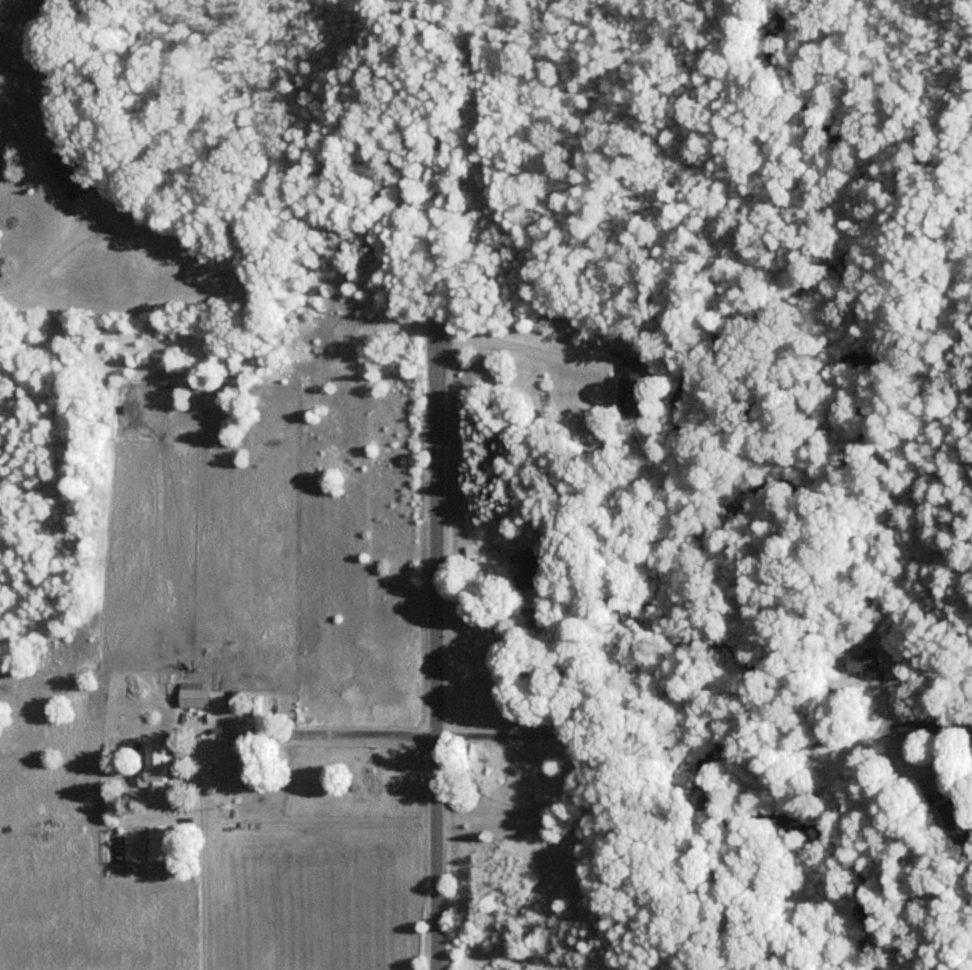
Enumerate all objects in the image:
building: (64, 174)
road: (48, 260)
building: (529, 568)
road: (431, 581)
building: (862, 660)
building: (191, 698)
road: (933, 726)
road: (382, 735)
building: (954, 821)
road: (210, 854)

